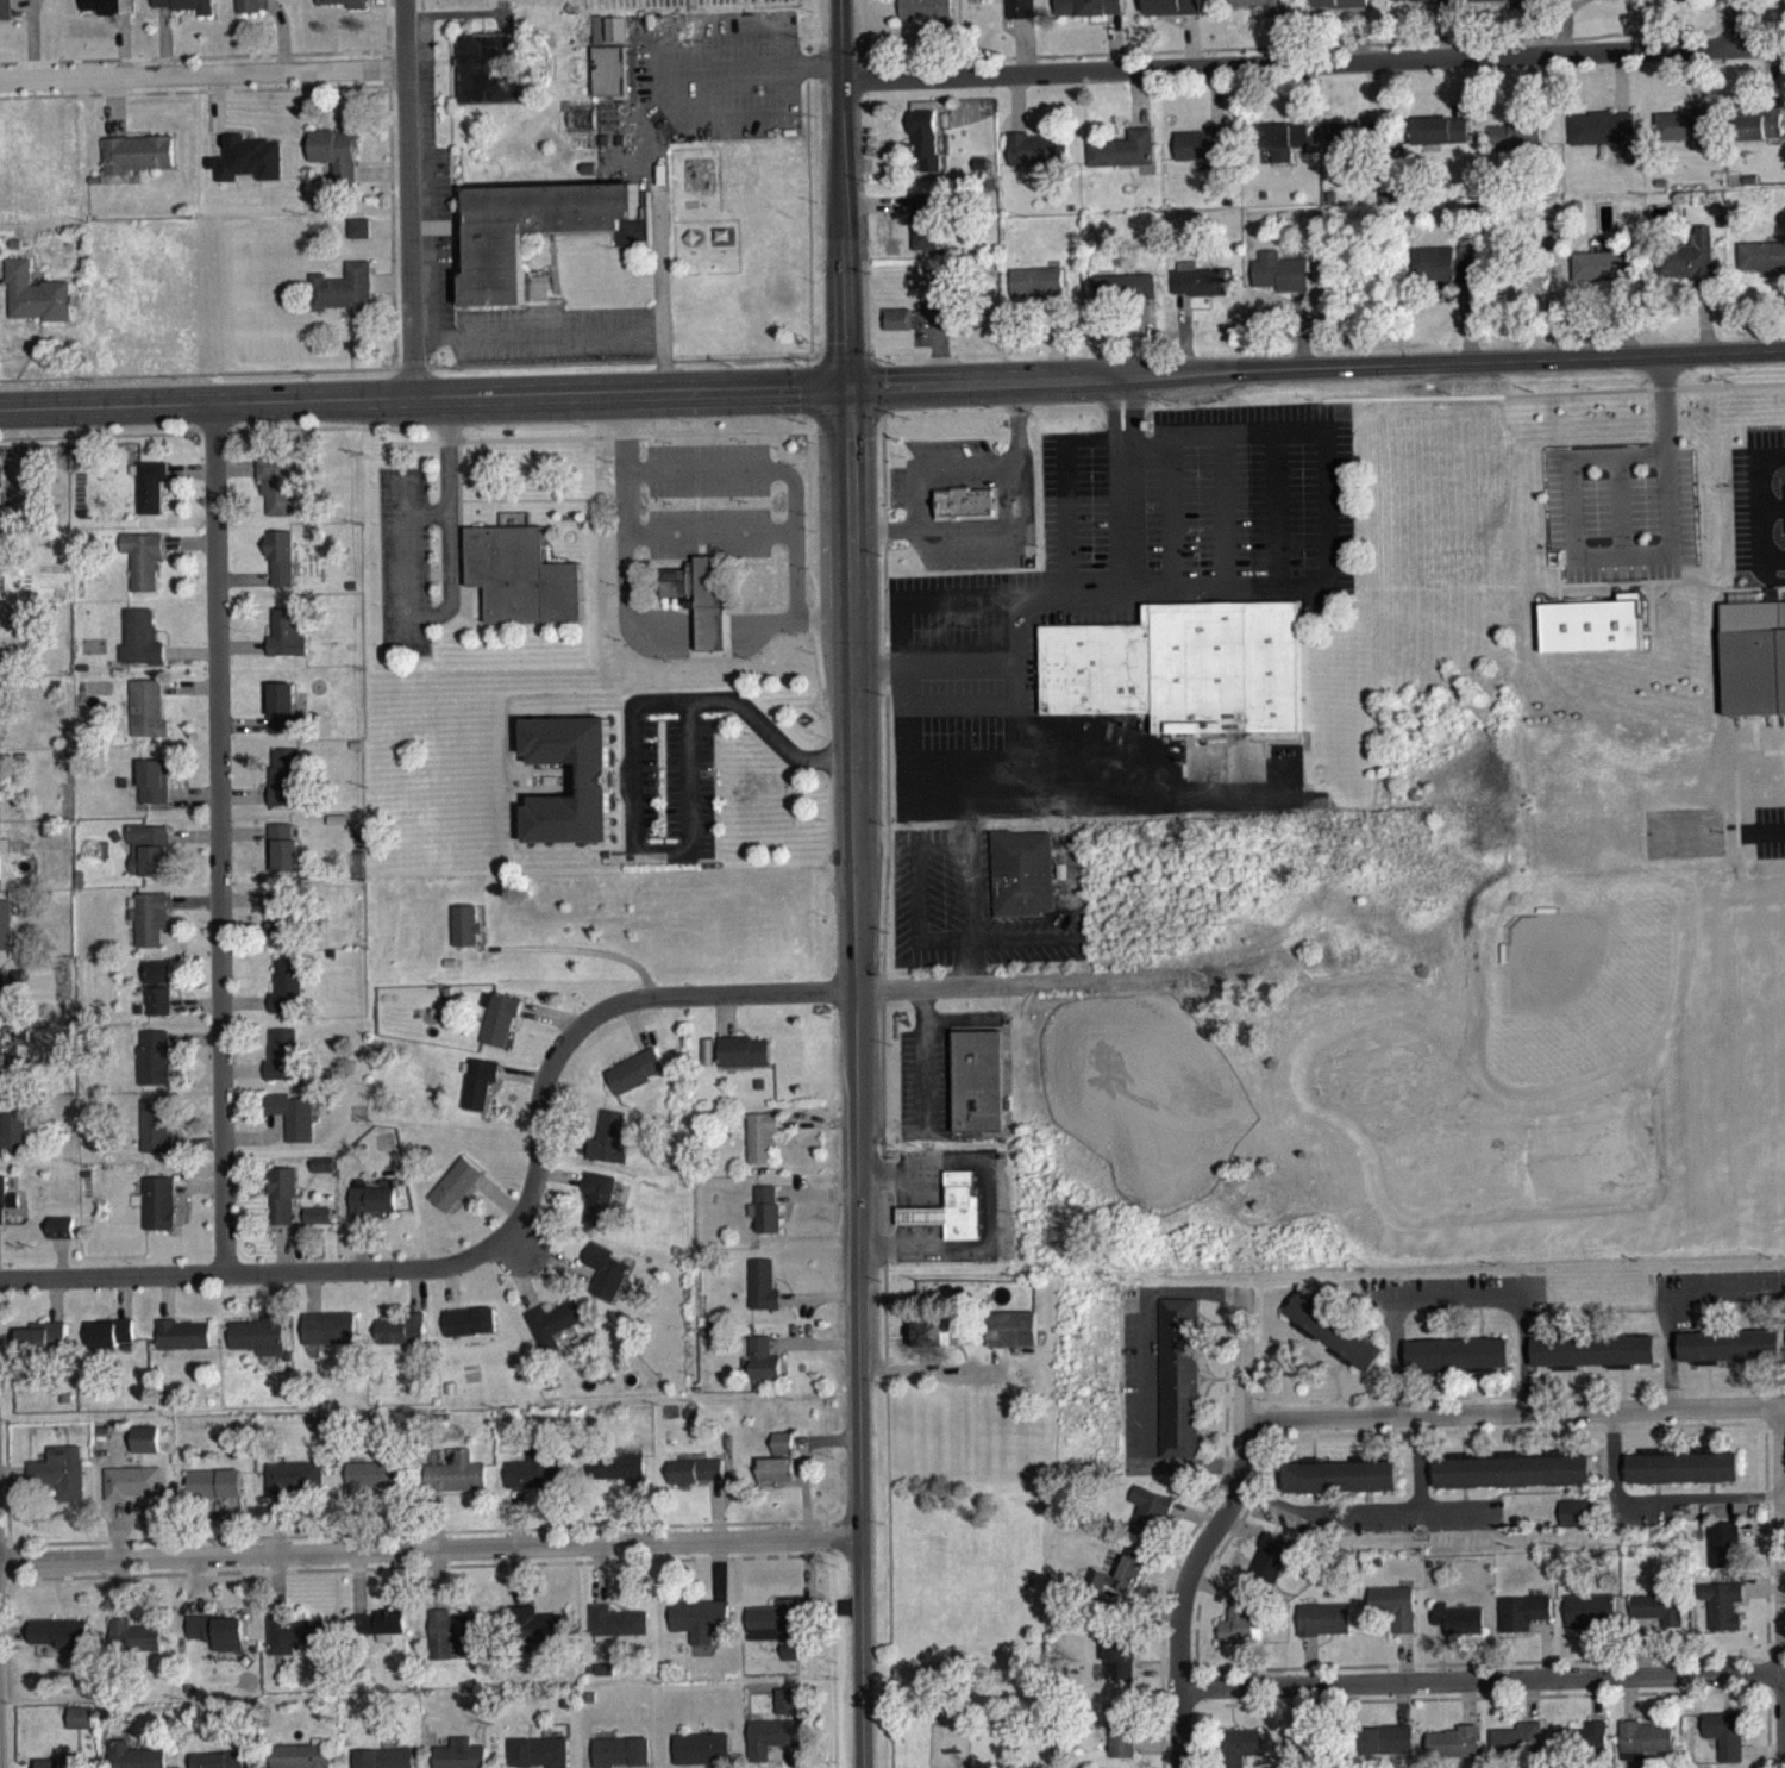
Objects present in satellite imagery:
building: (1589, 4)
building: (1660, 4)
building: (1422, 6)
building: (1493, 6)
building: (343, 8)
building: (256, 10)
building: (1261, 10)
building: (1341, 10)
building: (184, 11)
building: (108, 12)
building: (1010, 12)
building: (1089, 13)
building: (1173, 13)
building: (6, 15)
building: (926, 18)
road: (1718, 25)
road: (1311, 65)
road: (724, 69)
road: (202, 73)
building: (487, 81)
building: (610, 83)
building: (1683, 137)
building: (1761, 137)
building: (1603, 140)
building: (1440, 142)
building: (1518, 145)
building: (1348, 149)
building: (926, 152)
building: (1284, 152)
building: (1203, 158)
building: (1039, 162)
building: (1123, 162)
building: (337, 164)
building: (138, 165)
building: (250, 170)
road: (408, 196)
building: (541, 230)
building: (927, 235)
building: (359, 240)
road: (662, 256)
building: (1689, 269)
building: (1762, 269)
building: (1442, 277)
building: (1608, 277)
building: (1282, 285)
building: (37, 292)
building: (1198, 292)
building: (1039, 295)
building: (344, 300)
building: (1123, 300)
building: (896, 331)
road: (538, 332)
road: (1314, 370)
traffic signals: (844, 386)
road: (1120, 392)
road: (421, 394)
road: (1129, 429)
road: (1113, 430)
road: (779, 485)
building: (1, 489)
building: (277, 495)
building: (151, 499)
road: (1759, 506)
building: (965, 516)
road: (1323, 516)
building: (1, 525)
road: (1630, 564)
building: (281, 569)
building: (144, 571)
road: (449, 588)
building: (522, 589)
building: (701, 610)
building: (1591, 623)
road: (639, 624)
building: (1784, 637)
building: (287, 646)
building: (140, 650)
road: (898, 658)
building: (0, 661)
building: (1184, 667)
road: (931, 679)
building: (283, 720)
building: (148, 721)
road: (632, 769)
building: (286, 789)
building: (596, 792)
building: (155, 793)
building: (0, 794)
road: (218, 835)
building: (284, 860)
building: (150, 862)
building: (0, 871)
road: (854, 883)
building: (1021, 886)
building: (281, 925)
building: (150, 930)
building: (5, 937)
building: (465, 937)
road: (577, 948)
road: (948, 983)
building: (287, 999)
building: (158, 1000)
building: (2, 1006)
building: (499, 1031)
building: (745, 1064)
building: (282, 1068)
building: (155, 1069)
building: (2, 1072)
building: (637, 1082)
building: (978, 1093)
building: (480, 1095)
building: (293, 1127)
building: (156, 1138)
building: (13, 1142)
building: (762, 1149)
building: (610, 1151)
building: (322, 1176)
building: (456, 1197)
road: (1001, 1205)
building: (282, 1208)
building: (6, 1210)
building: (600, 1210)
building: (372, 1213)
building: (159, 1216)
building: (952, 1222)
building: (318, 1227)
road: (503, 1231)
building: (62, 1239)
building: (608, 1283)
building: (764, 1298)
road: (1459, 1298)
road: (1674, 1299)
building: (1335, 1330)
building: (471, 1333)
building: (555, 1336)
building: (331, 1341)
building: (402, 1342)
building: (1013, 1342)
building: (1729, 1344)
building: (111, 1345)
building: (932, 1345)
building: (184, 1347)
building: (262, 1349)
building: (43, 1350)
building: (1593, 1350)
building: (1458, 1352)
building: (764, 1373)
building: (1179, 1391)
road: (1512, 1411)
building: (146, 1451)
building: (783, 1455)
building: (1683, 1464)
building: (1511, 1468)
building: (1340, 1473)
building: (619, 1480)
building: (538, 1481)
building: (776, 1482)
building: (696, 1483)
building: (61, 1485)
building: (457, 1485)
building: (376, 1487)
building: (1341, 1488)
building: (295, 1489)
building: (133, 1494)
building: (215, 1497)
road: (1656, 1498)
road: (1453, 1506)
road: (1371, 1508)
building: (1150, 1525)
building: (1576, 1526)
road: (1210, 1531)
road: (430, 1547)
building: (1724, 1557)
road: (1784, 1569)
building: (1271, 1572)
building: (1119, 1588)
building: (1395, 1618)
building: (1723, 1618)
building: (1591, 1622)
building: (1660, 1622)
building: (1523, 1624)
building: (700, 1631)
building: (1324, 1631)
building: (1458, 1631)
building: (616, 1633)
building: (1244, 1633)
building: (773, 1635)
building: (378, 1636)
building: (535, 1639)
building: (62, 1644)
building: (219, 1644)
building: (451, 1644)
building: (296, 1645)
building: (134, 1649)
building: (789, 1664)
road: (1482, 1668)
building: (1119, 1669)
building: (788, 1713)
building: (82, 1730)
building: (1122, 1741)
building: (1725, 1744)
building: (771, 1745)
building: (1648, 1751)
building: (1388, 1753)
building: (1518, 1753)
building: (1585, 1753)
building: (1455, 1754)
building: (1241, 1755)
building: (119, 1756)
building: (702, 1756)
building: (540, 1758)
building: (622, 1758)
building: (461, 1760)
building: (1296, 1761)
building: (300, 1762)
building: (386, 1764)
building: (223, 1766)

